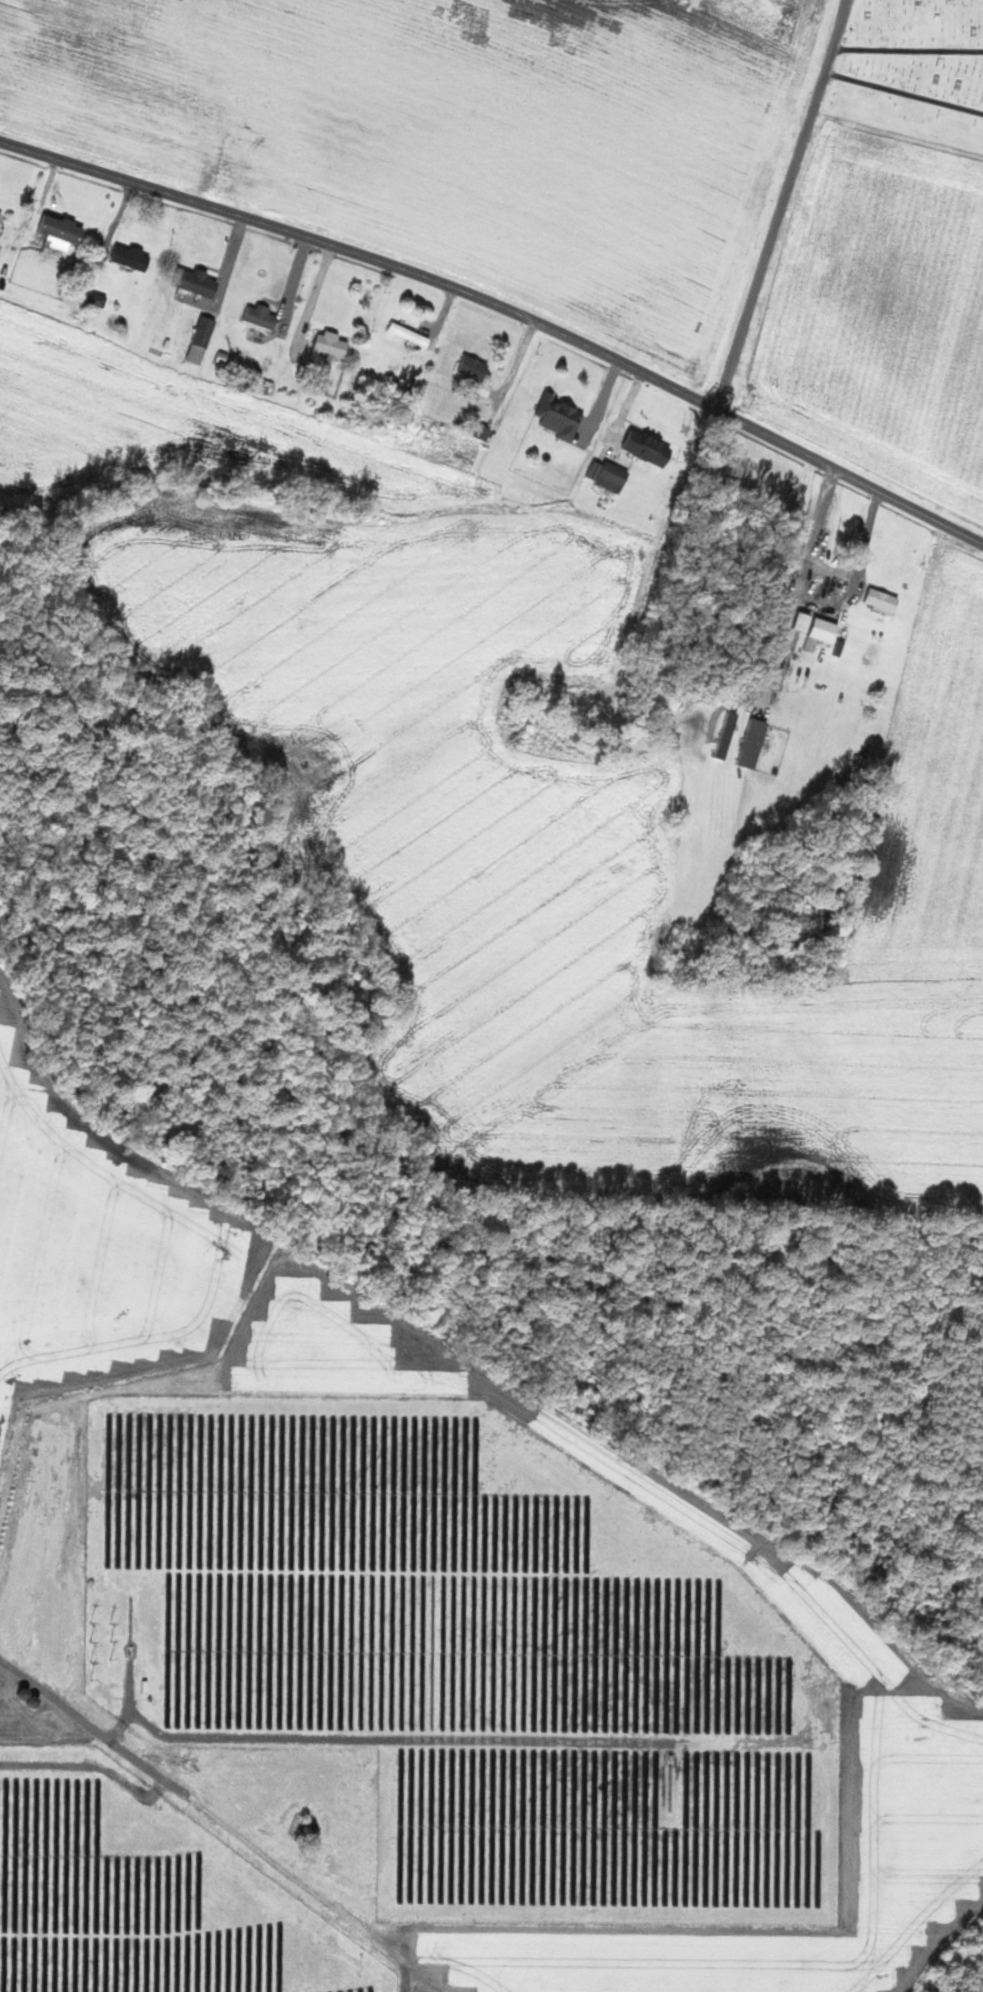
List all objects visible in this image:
road: (776, 203)
building: (1, 217)
building: (64, 228)
building: (132, 256)
building: (198, 281)
building: (98, 298)
road: (503, 312)
building: (262, 316)
building: (411, 334)
building: (203, 338)
building: (331, 344)
building: (474, 367)
building: (562, 416)
building: (484, 432)
building: (614, 476)
road: (800, 577)
building: (883, 599)
building: (829, 631)
road: (10, 1664)
building: (36, 1703)

